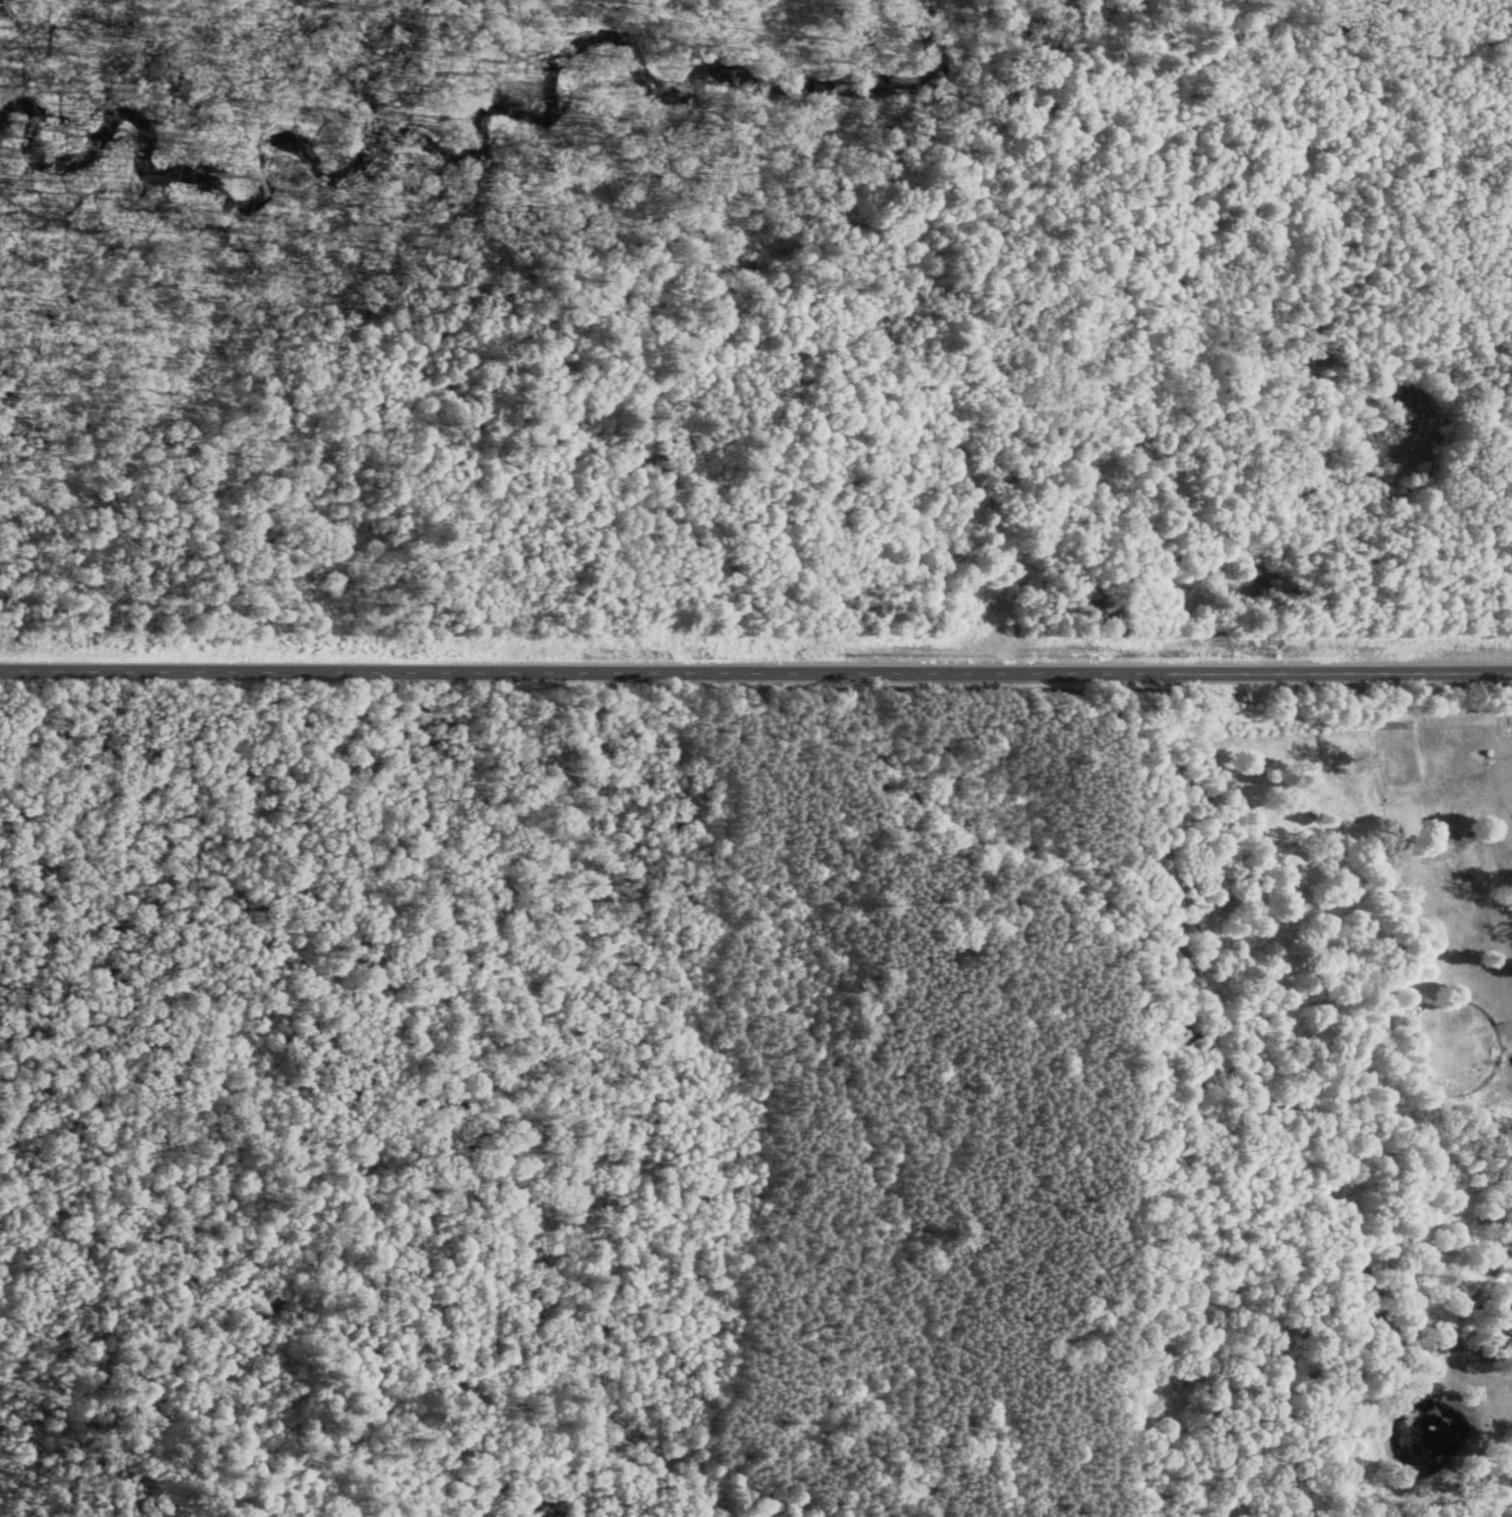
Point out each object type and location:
road: (755, 672)

